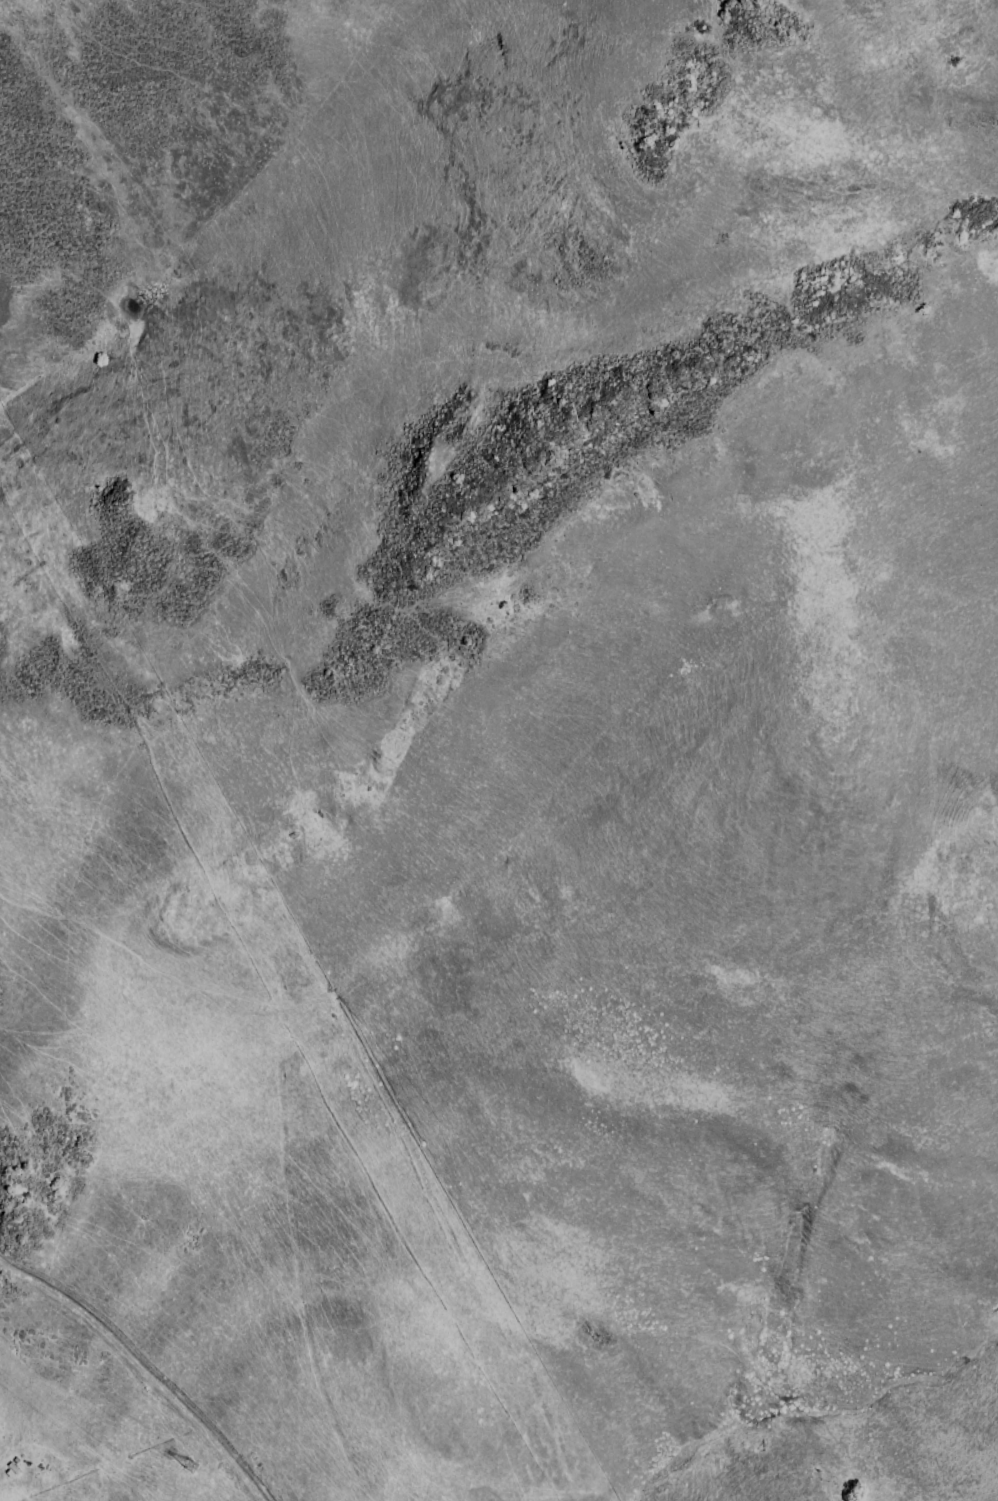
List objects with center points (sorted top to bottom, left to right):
road: (14, 1437)
power tower: (192, 1467)

